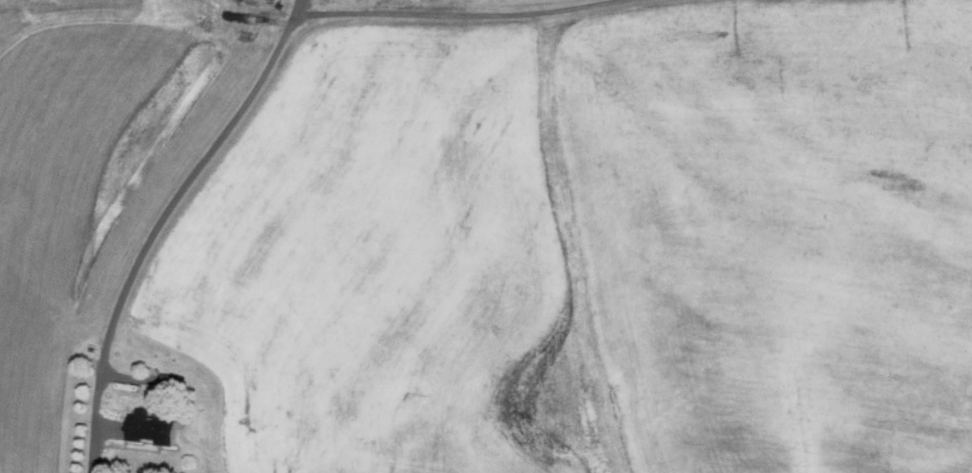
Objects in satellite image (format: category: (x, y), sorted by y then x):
road: (433, 12)
road: (153, 232)
building: (155, 425)

